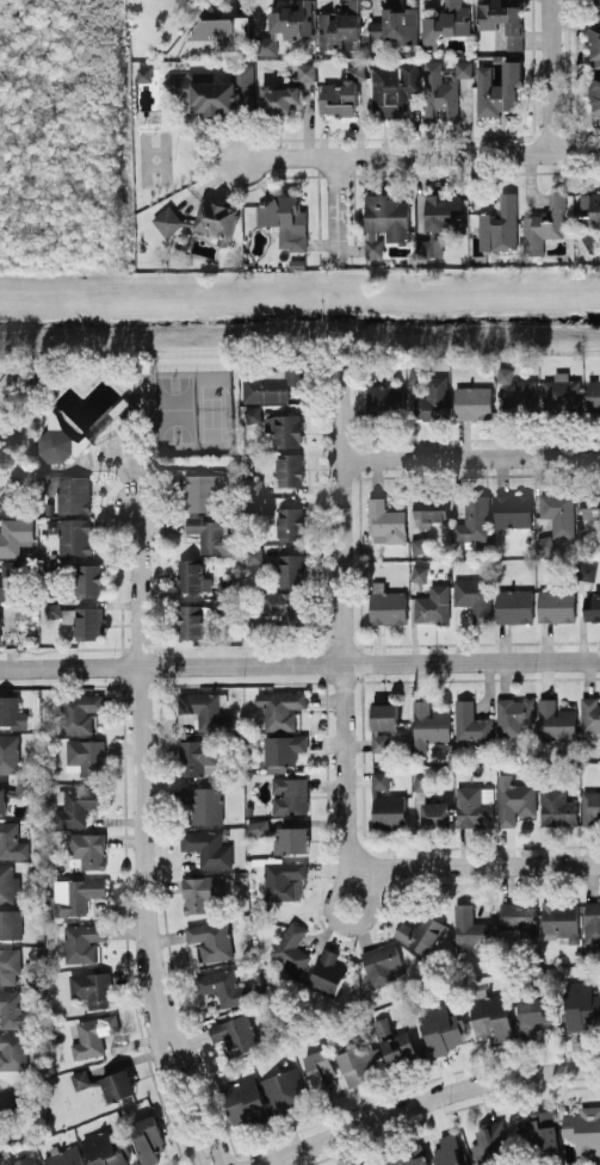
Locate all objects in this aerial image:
building: (596, 6)
building: (502, 20)
building: (396, 21)
building: (445, 23)
building: (286, 25)
building: (224, 27)
building: (339, 27)
building: (594, 44)
building: (305, 72)
building: (142, 73)
road: (553, 76)
building: (392, 87)
building: (443, 87)
building: (499, 89)
building: (341, 92)
building: (595, 97)
building: (278, 98)
road: (420, 154)
building: (589, 209)
road: (344, 210)
building: (443, 211)
building: (167, 219)
building: (216, 219)
building: (285, 219)
building: (384, 221)
building: (499, 224)
building: (543, 224)
building: (596, 234)
building: (428, 247)
building: (505, 373)
building: (270, 385)
building: (561, 392)
building: (431, 395)
building: (593, 395)
building: (521, 396)
building: (384, 398)
building: (472, 401)
building: (252, 414)
building: (54, 419)
building: (284, 428)
building: (56, 445)
road: (470, 456)
building: (289, 467)
building: (51, 484)
building: (253, 484)
building: (202, 490)
building: (73, 492)
building: (7, 495)
building: (590, 506)
building: (429, 508)
building: (512, 509)
building: (558, 512)
building: (472, 519)
building: (384, 521)
building: (290, 522)
building: (14, 534)
building: (72, 534)
building: (209, 534)
building: (544, 543)
building: (419, 544)
building: (252, 553)
building: (291, 569)
building: (587, 571)
building: (419, 572)
building: (188, 574)
building: (8, 578)
building: (87, 580)
building: (472, 596)
building: (432, 603)
building: (513, 605)
building: (555, 605)
building: (286, 606)
building: (388, 606)
building: (227, 607)
building: (590, 607)
building: (52, 609)
road: (344, 619)
building: (190, 620)
building: (88, 621)
building: (256, 627)
building: (0, 634)
road: (299, 662)
building: (280, 707)
building: (204, 709)
building: (11, 711)
building: (79, 711)
building: (589, 713)
building: (513, 714)
building: (555, 720)
building: (383, 724)
building: (428, 724)
building: (471, 724)
building: (283, 748)
building: (8, 751)
building: (196, 755)
building: (85, 756)
building: (421, 782)
building: (21, 787)
building: (289, 794)
building: (513, 799)
building: (2, 800)
building: (202, 803)
building: (385, 803)
building: (78, 805)
building: (474, 805)
building: (556, 806)
building: (590, 806)
building: (434, 813)
building: (258, 826)
building: (290, 838)
road: (148, 839)
building: (11, 841)
building: (208, 847)
building: (87, 848)
road: (475, 863)
building: (283, 879)
building: (8, 884)
building: (75, 893)
building: (202, 893)
building: (518, 918)
building: (561, 918)
building: (592, 921)
building: (10, 923)
road: (345, 924)
building: (469, 930)
building: (420, 931)
building: (210, 938)
building: (82, 941)
building: (290, 950)
building: (381, 962)
building: (10, 965)
building: (326, 972)
building: (223, 986)
building: (91, 987)
building: (581, 1005)
building: (13, 1009)
building: (536, 1012)
building: (490, 1014)
building: (441, 1028)
building: (235, 1033)
building: (93, 1034)
building: (398, 1047)
building: (12, 1051)
building: (360, 1062)
building: (321, 1068)
building: (95, 1073)
building: (80, 1078)
building: (118, 1084)
building: (284, 1089)
building: (243, 1102)
road: (423, 1102)
building: (10, 1104)
building: (583, 1129)
building: (539, 1133)
building: (148, 1139)
building: (490, 1142)
building: (104, 1148)
building: (447, 1151)
building: (64, 1157)
building: (410, 1157)
building: (25, 1160)
building: (360, 1164)
building: (381, 1164)

